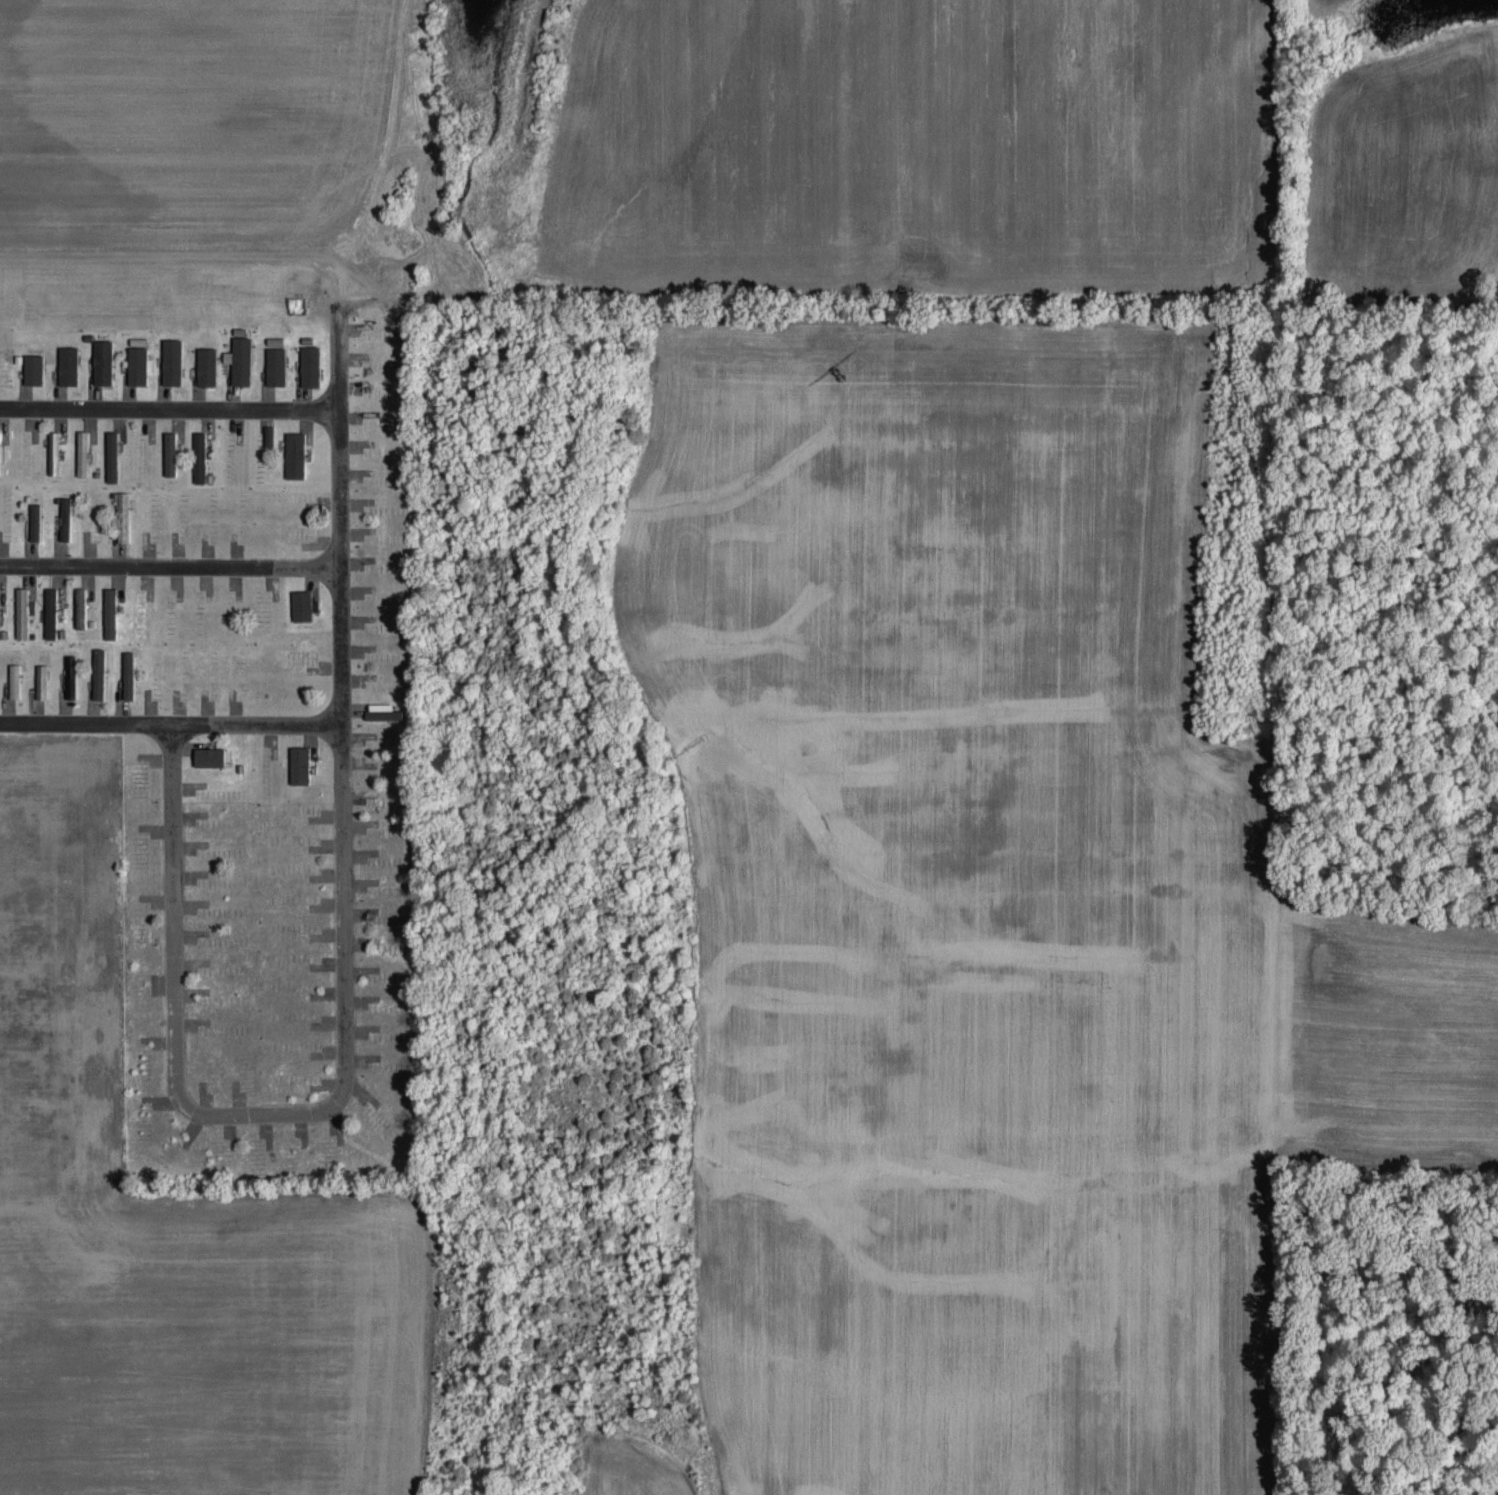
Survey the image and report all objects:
building: (240, 359)
building: (102, 360)
building: (137, 360)
building: (171, 360)
building: (67, 364)
building: (205, 365)
building: (275, 365)
building: (309, 365)
building: (32, 367)
road: (133, 408)
road: (302, 410)
building: (267, 434)
building: (53, 451)
building: (81, 452)
building: (169, 452)
building: (294, 454)
building: (111, 455)
building: (123, 515)
building: (34, 521)
building: (299, 531)
road: (168, 566)
building: (301, 604)
building: (79, 606)
building: (21, 611)
building: (49, 611)
building: (109, 612)
road: (341, 651)
building: (98, 673)
building: (127, 674)
building: (70, 675)
building: (14, 680)
building: (41, 680)
building: (382, 710)
road: (170, 722)
building: (208, 756)
building: (299, 764)
road: (175, 1077)

